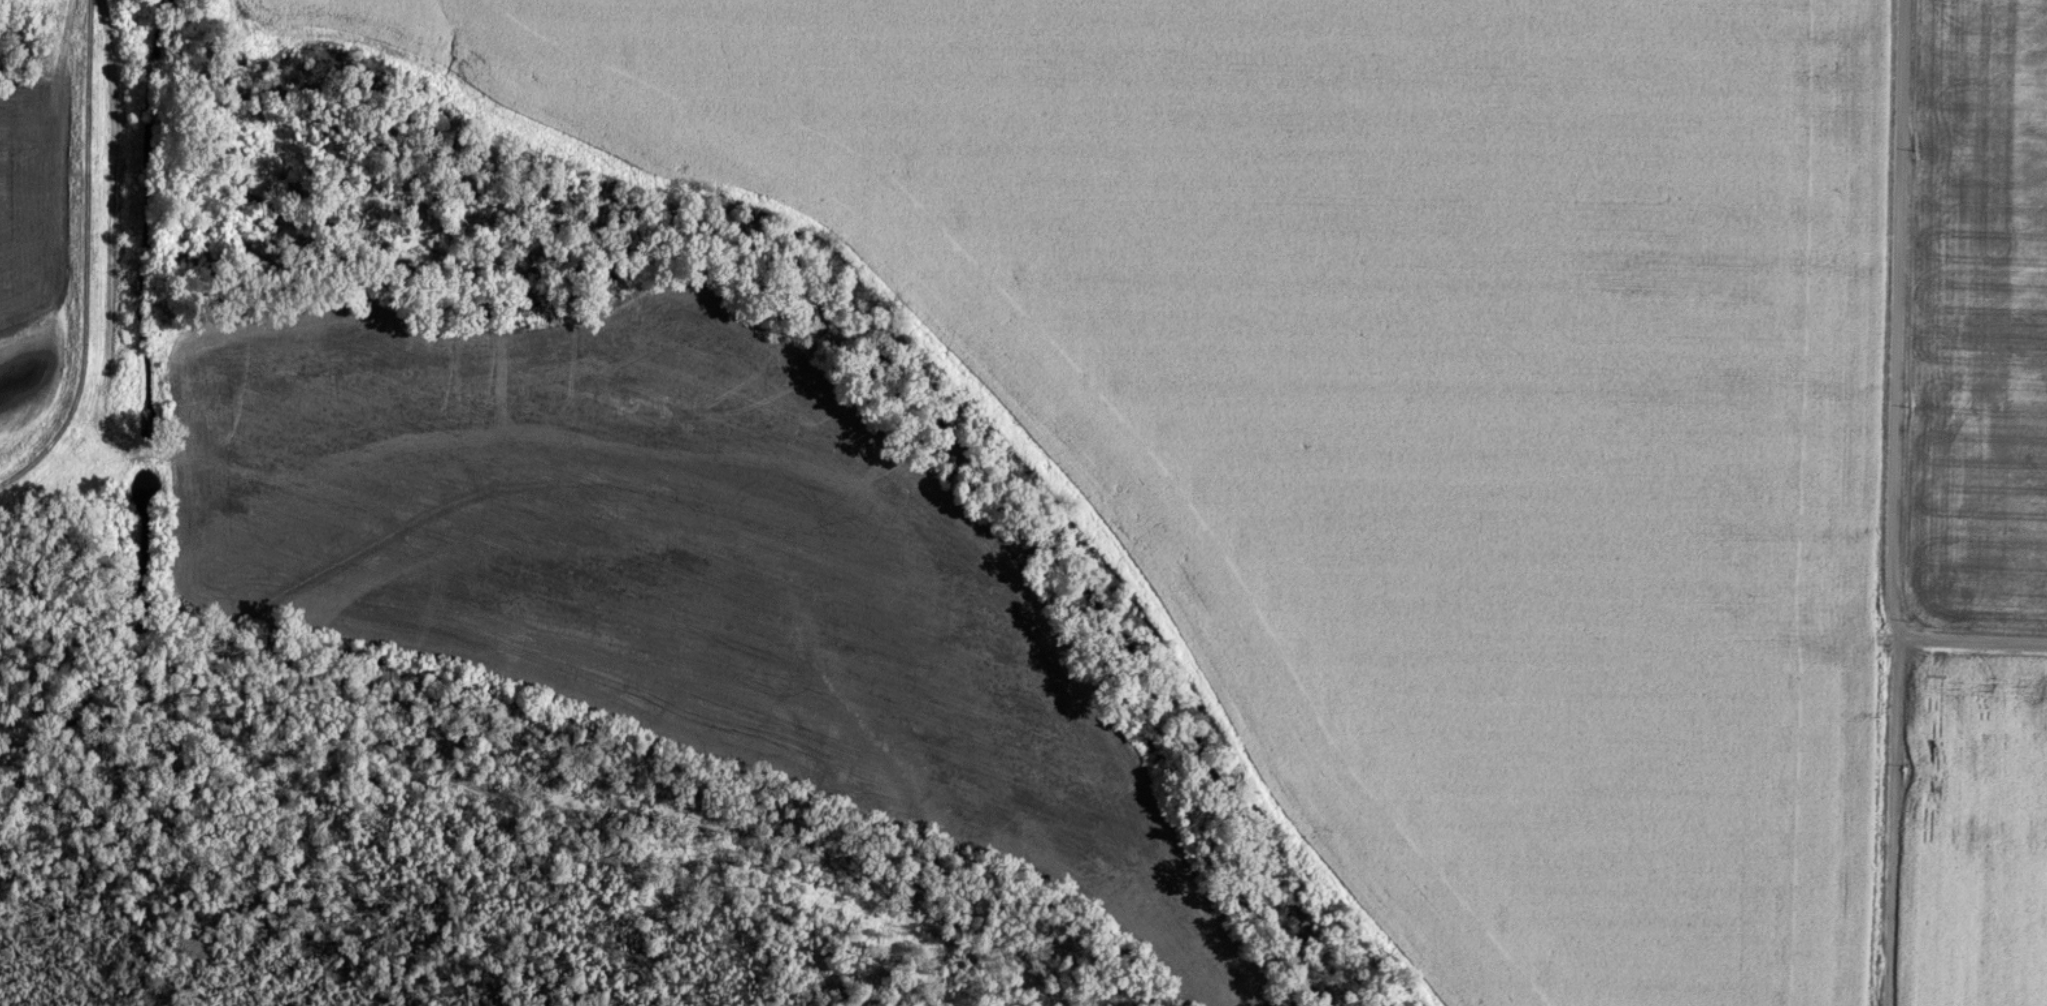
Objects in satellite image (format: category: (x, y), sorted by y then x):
road: (64, 247)
road: (1899, 319)
road: (1971, 642)
road: (1889, 822)

